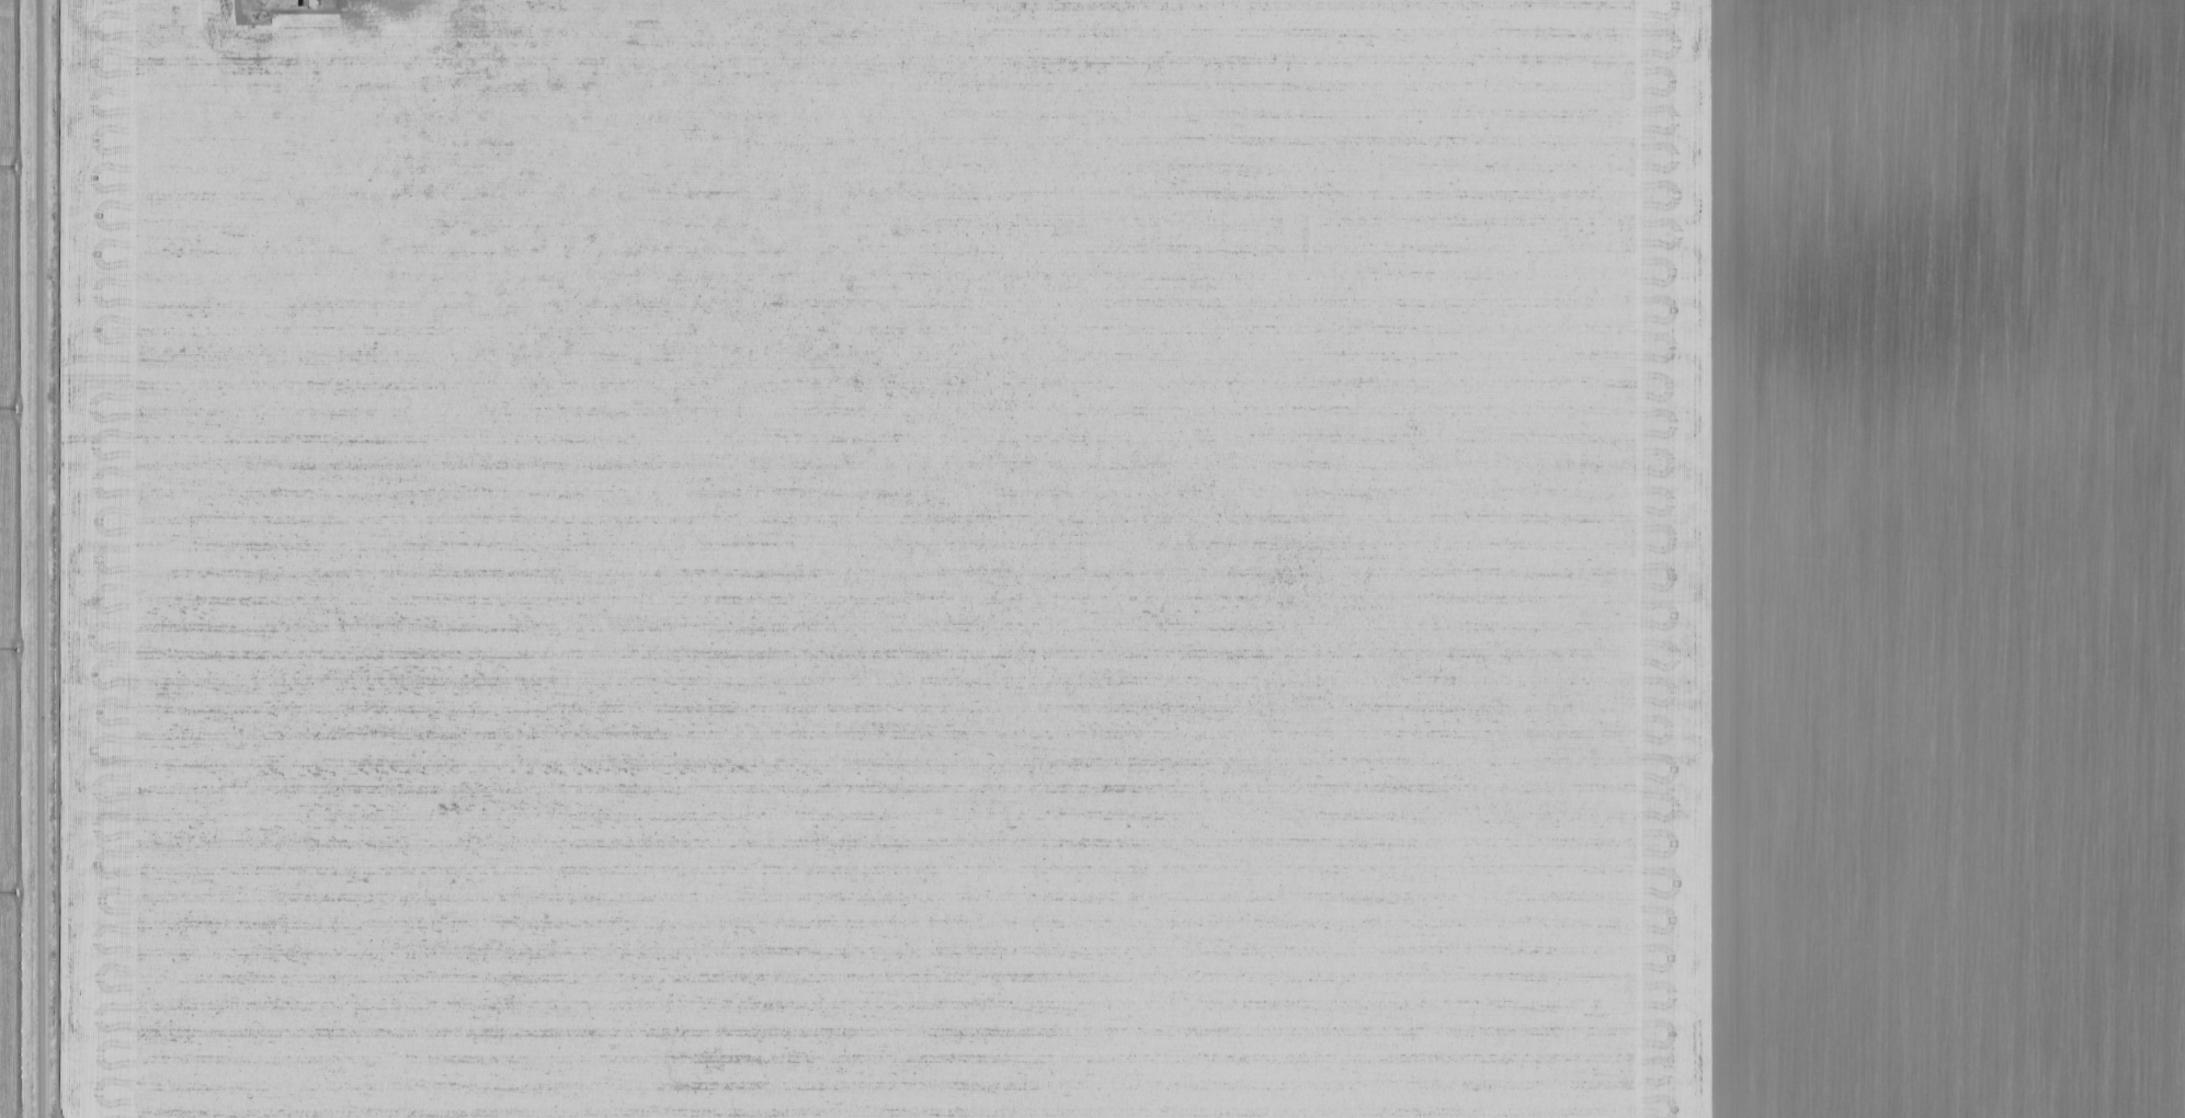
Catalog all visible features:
road: (38, 559)

